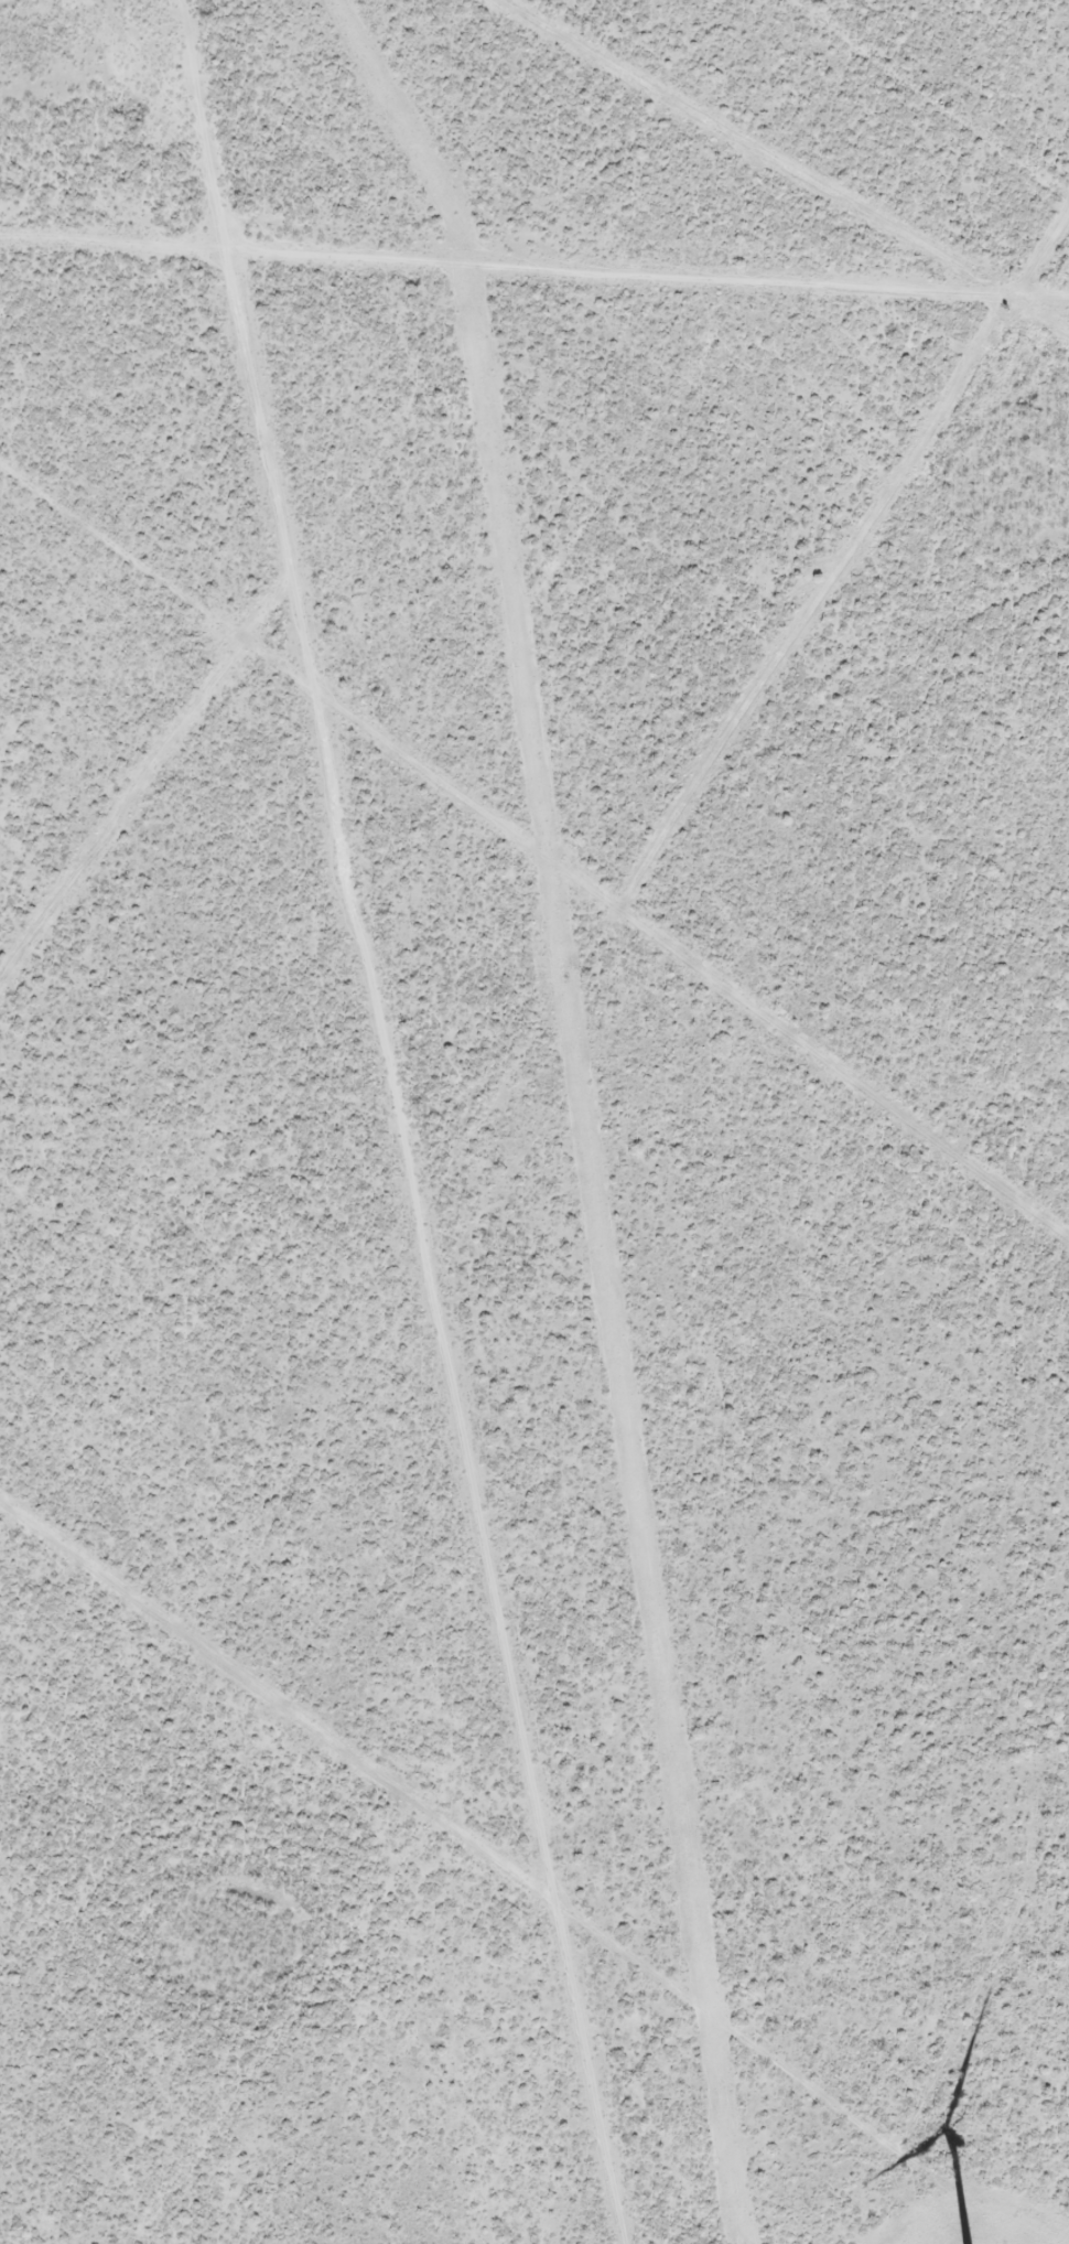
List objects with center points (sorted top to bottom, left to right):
road: (398, 1115)

